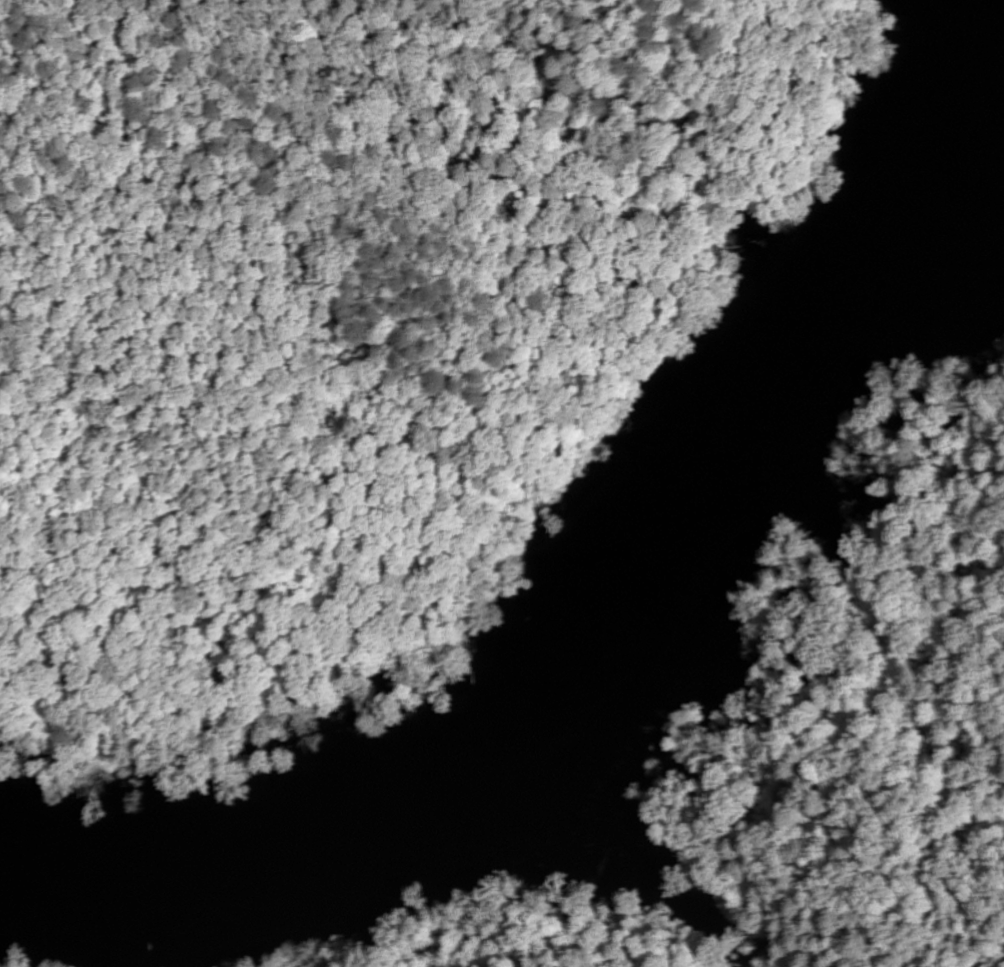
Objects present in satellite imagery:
river: (620, 609)

